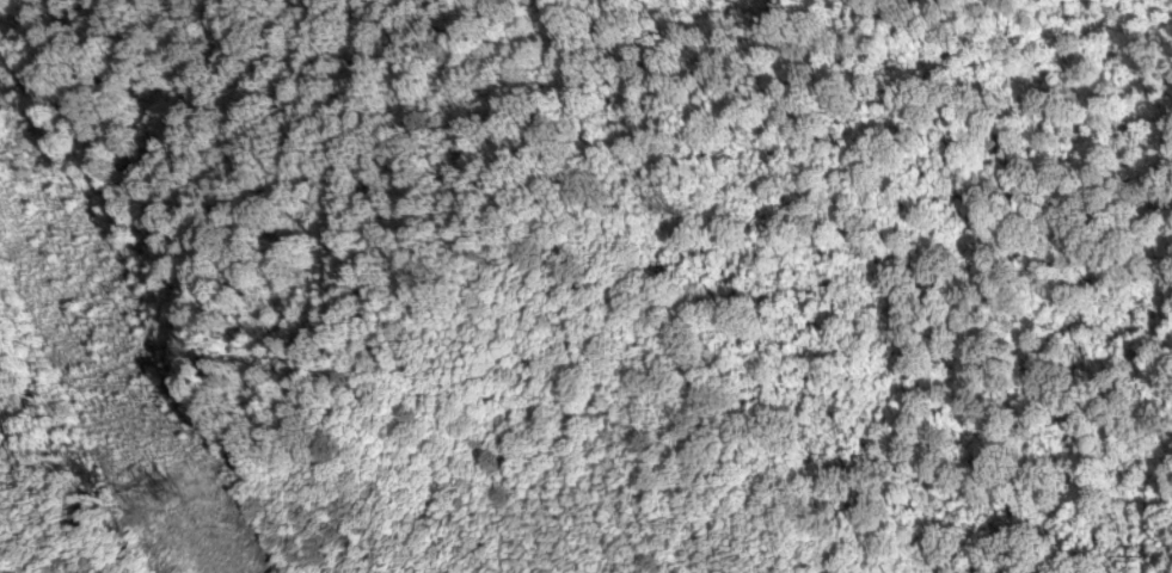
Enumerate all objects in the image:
road: (567, 313)

